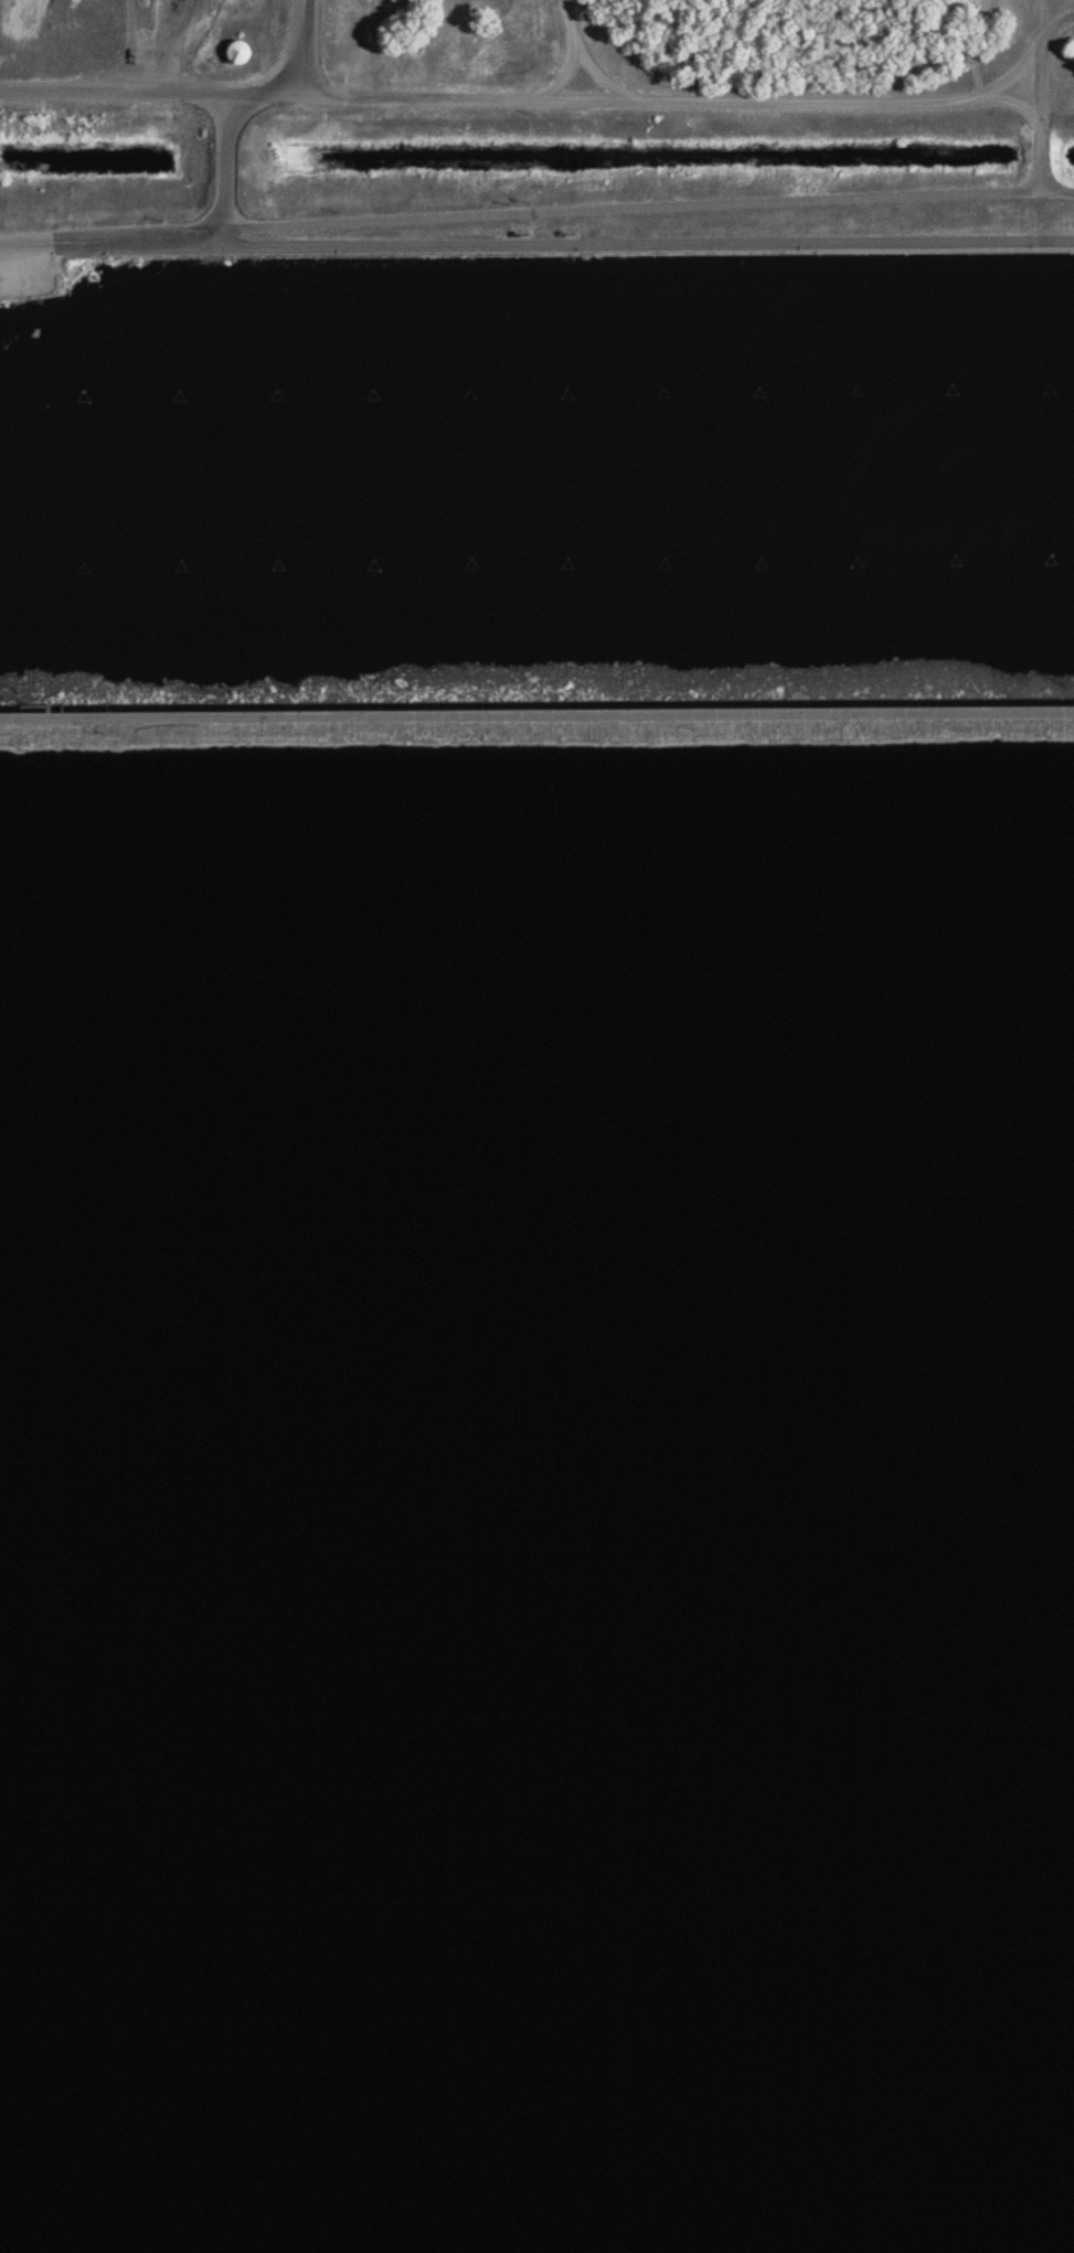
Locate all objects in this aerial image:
road: (308, 46)
building: (246, 51)
road: (322, 93)
road: (808, 97)
wastewater plant: (536, 1126)

